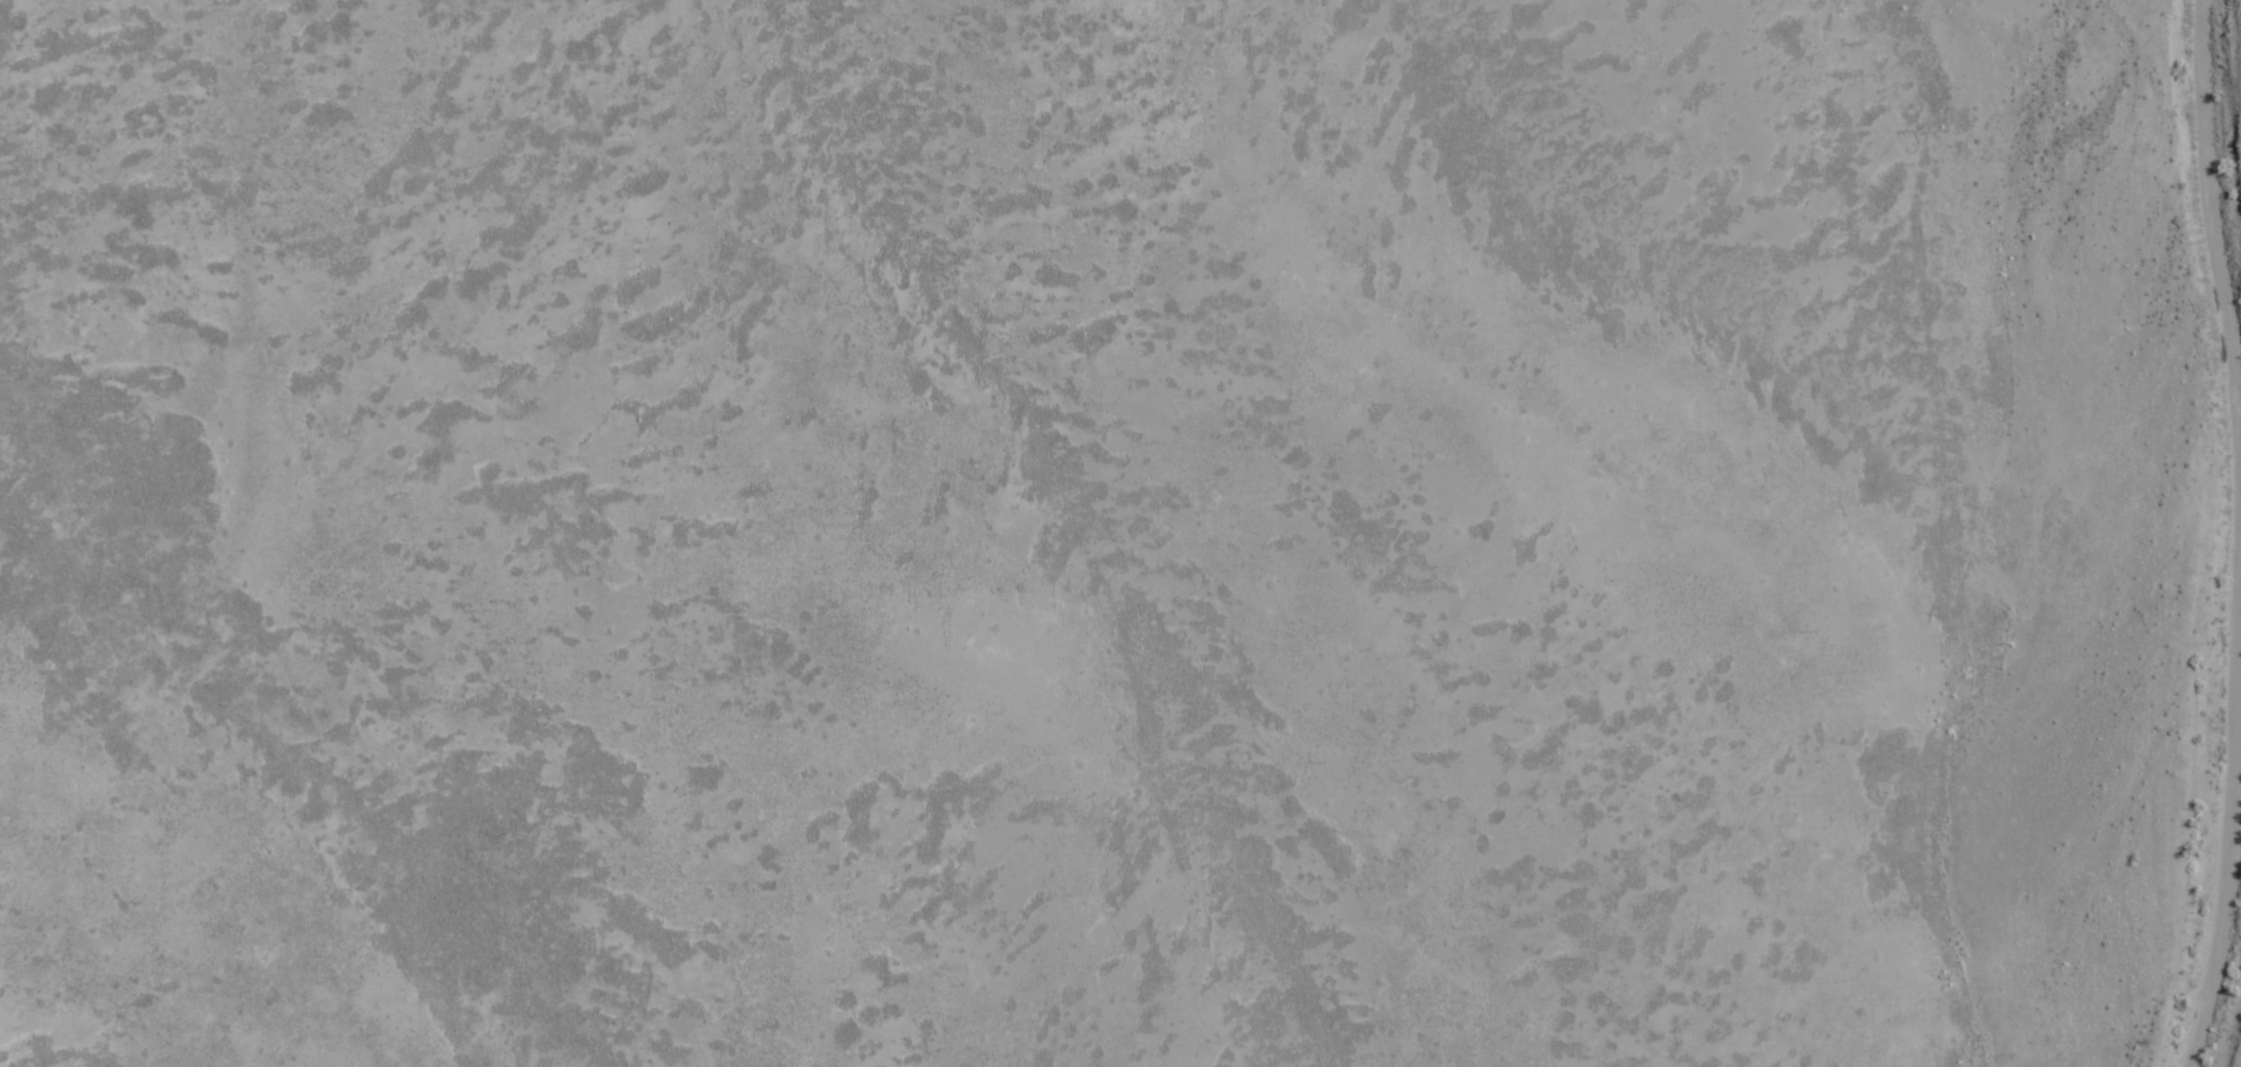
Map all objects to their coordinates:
river: (2229, 533)

